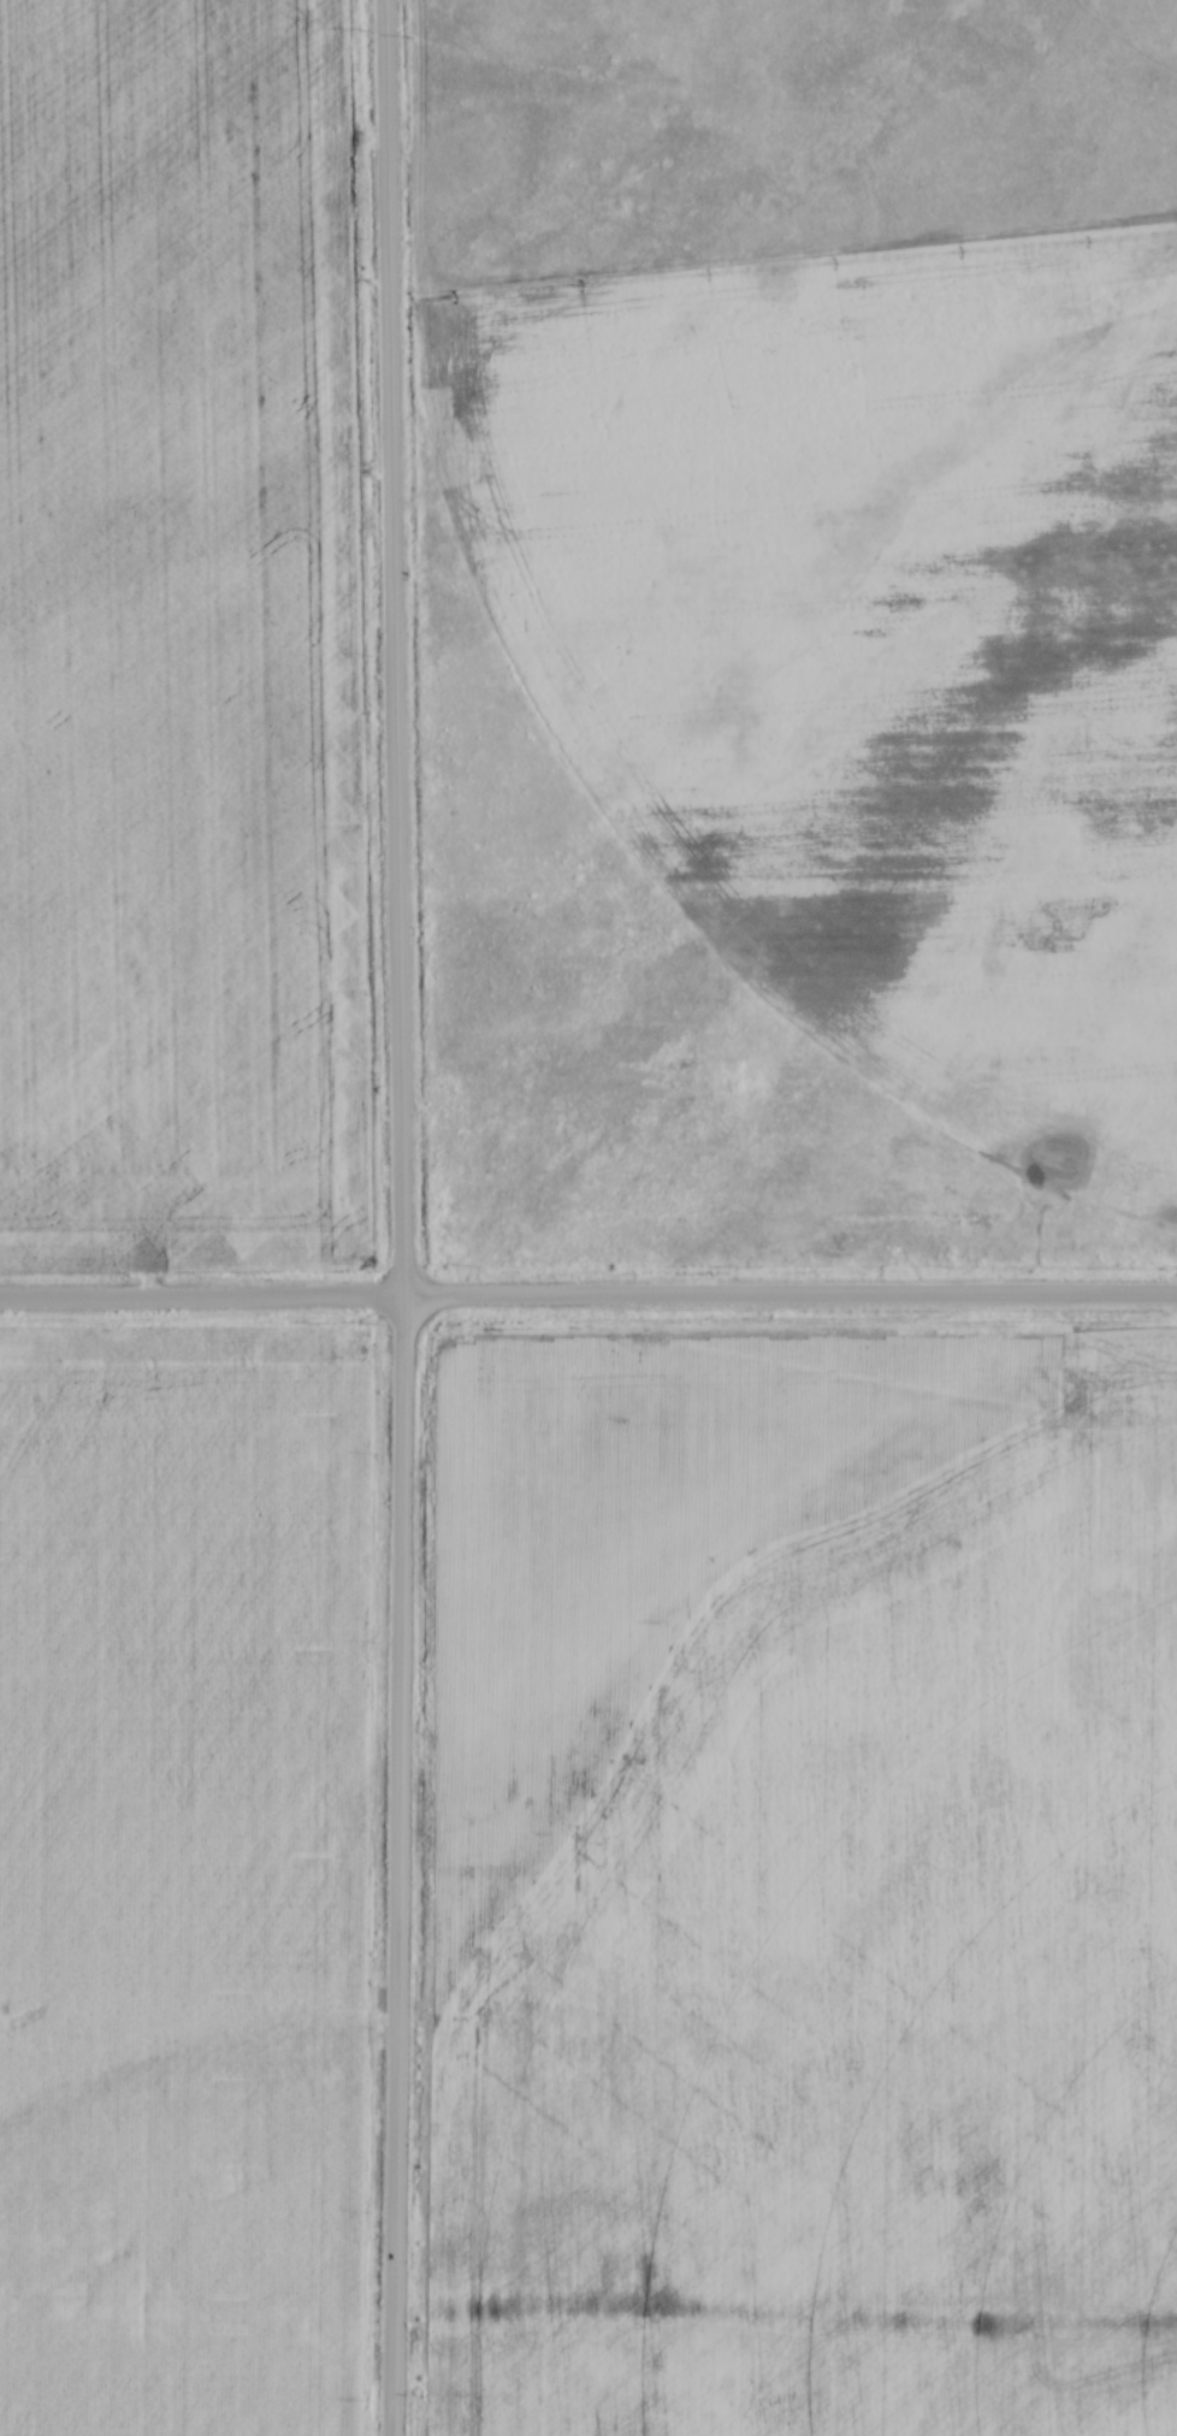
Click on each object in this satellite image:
road: (402, 1217)
road: (588, 1296)

